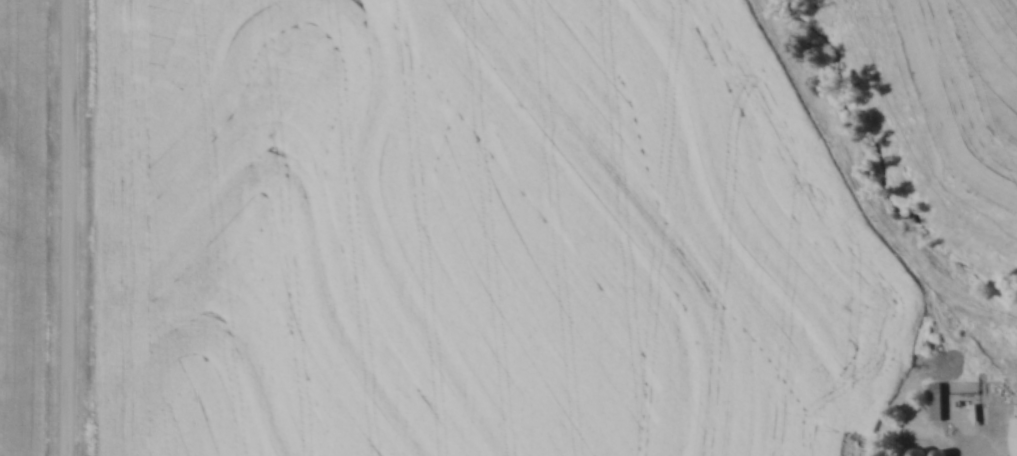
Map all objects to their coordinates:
road: (72, 228)
building: (938, 402)
building: (1016, 436)
building: (920, 453)
building: (941, 453)

